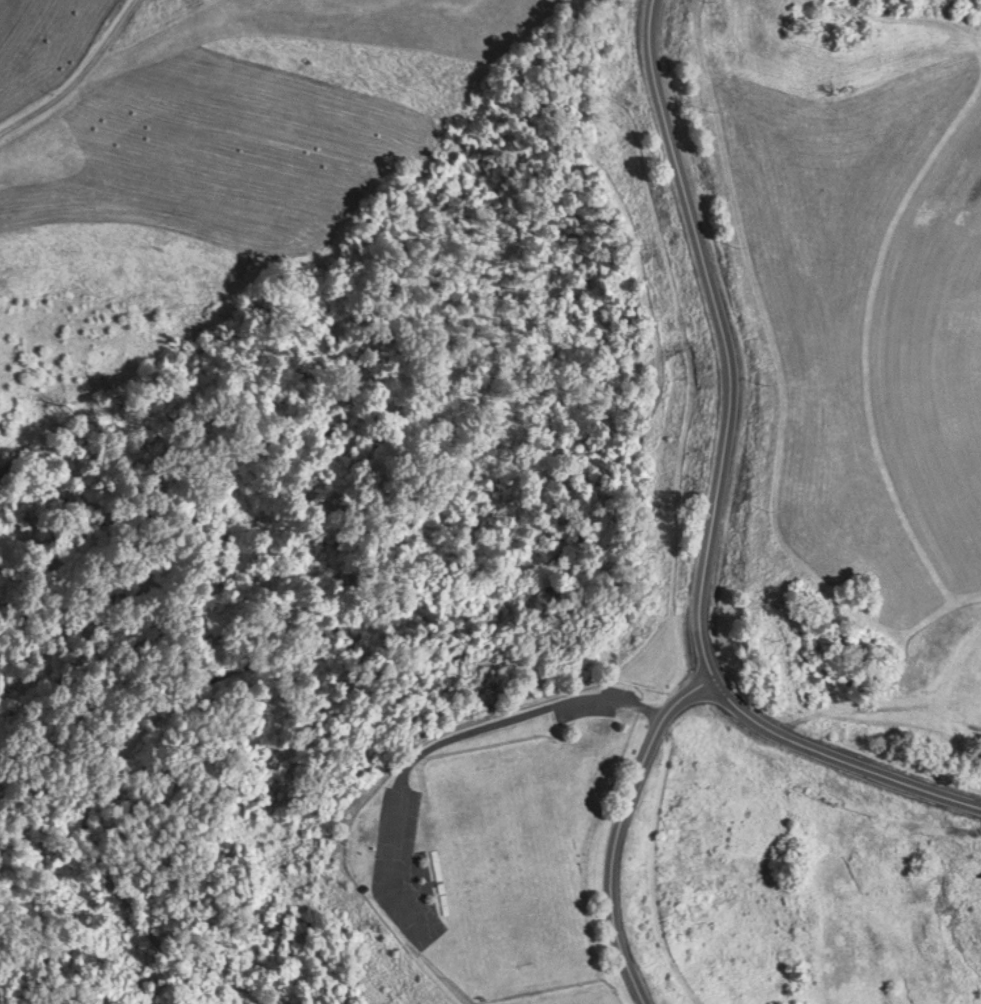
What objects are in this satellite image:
road: (722, 335)
road: (451, 743)
road: (838, 754)
road: (620, 828)
park: (515, 864)
park: (578, 998)

